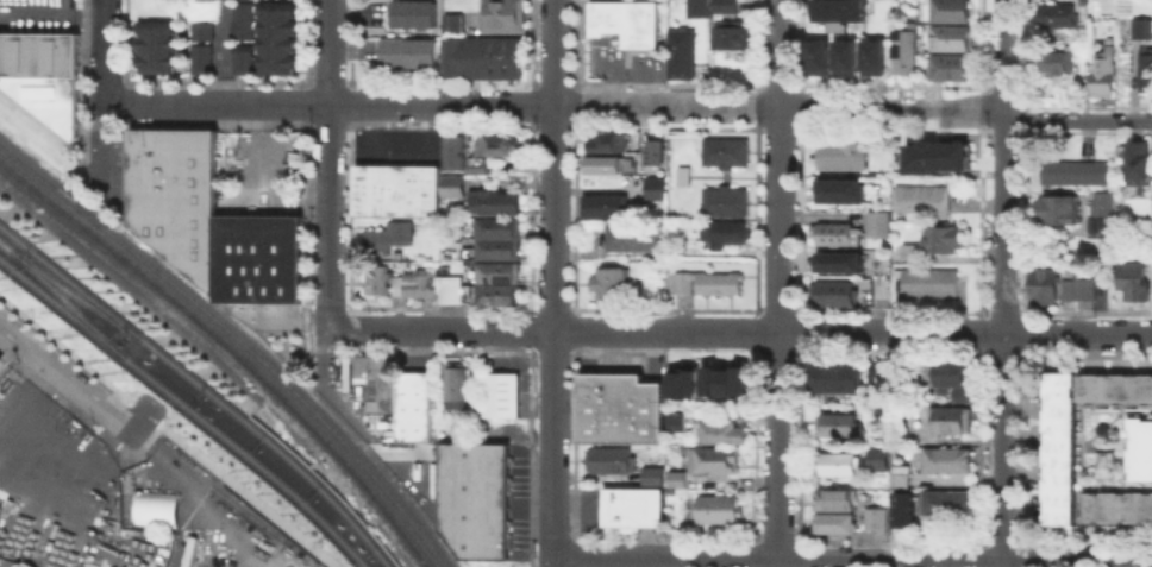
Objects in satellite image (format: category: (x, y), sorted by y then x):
building: (205, 0)
building: (722, 6)
building: (696, 8)
building: (829, 10)
building: (948, 10)
building: (415, 17)
building: (505, 17)
building: (1059, 18)
building: (242, 19)
building: (625, 20)
building: (457, 26)
building: (200, 30)
building: (1142, 31)
building: (728, 33)
building: (275, 36)
building: (948, 36)
building: (155, 45)
building: (903, 50)
road: (105, 51)
road: (228, 51)
building: (680, 52)
building: (38, 53)
building: (818, 55)
building: (844, 55)
building: (409, 56)
building: (871, 56)
building: (200, 58)
building: (242, 58)
building: (486, 58)
building: (1062, 63)
building: (948, 65)
building: (1147, 69)
building: (1106, 75)
road: (616, 84)
road: (649, 89)
road: (628, 106)
building: (42, 113)
building: (603, 141)
road: (104, 143)
building: (457, 149)
building: (497, 150)
building: (724, 150)
building: (651, 152)
building: (933, 152)
building: (841, 155)
building: (602, 163)
road: (328, 164)
building: (1140, 165)
building: (1078, 172)
building: (456, 187)
building: (653, 187)
building: (841, 189)
building: (400, 191)
building: (175, 194)
building: (920, 196)
building: (499, 200)
building: (724, 200)
building: (601, 204)
building: (1108, 207)
building: (1060, 213)
building: (878, 222)
building: (722, 231)
building: (838, 233)
building: (632, 235)
building: (1151, 235)
building: (390, 238)
building: (938, 238)
building: (501, 239)
building: (257, 257)
building: (839, 260)
building: (378, 278)
road: (553, 278)
building: (606, 281)
building: (705, 282)
building: (927, 282)
building: (1135, 282)
road: (780, 283)
road: (1004, 283)
building: (419, 285)
building: (500, 286)
building: (1046, 289)
building: (455, 290)
building: (831, 291)
building: (1079, 291)
railway: (71, 292)
railway: (62, 297)
road: (739, 333)
railway: (238, 339)
road: (64, 348)
railway: (228, 348)
building: (1, 357)
building: (1, 361)
building: (950, 372)
building: (878, 374)
building: (833, 376)
building: (683, 377)
building: (726, 377)
road: (74, 383)
railway: (202, 388)
building: (458, 388)
building: (964, 393)
building: (400, 396)
building: (502, 396)
railway: (187, 407)
building: (618, 408)
building: (864, 408)
road: (142, 411)
road: (79, 416)
building: (951, 417)
building: (674, 420)
building: (833, 423)
building: (721, 430)
building: (1139, 449)
building: (876, 456)
building: (712, 458)
building: (608, 459)
building: (946, 459)
building: (1057, 461)
building: (835, 462)
building: (1103, 462)
building: (651, 475)
building: (675, 477)
building: (897, 485)
road: (246, 494)
building: (833, 498)
building: (476, 499)
building: (943, 502)
building: (632, 505)
building: (155, 506)
building: (715, 508)
building: (1116, 508)
building: (901, 509)
building: (874, 516)
building: (833, 522)
road: (851, 557)
road: (546, 561)
road: (552, 561)
road: (6, 565)

